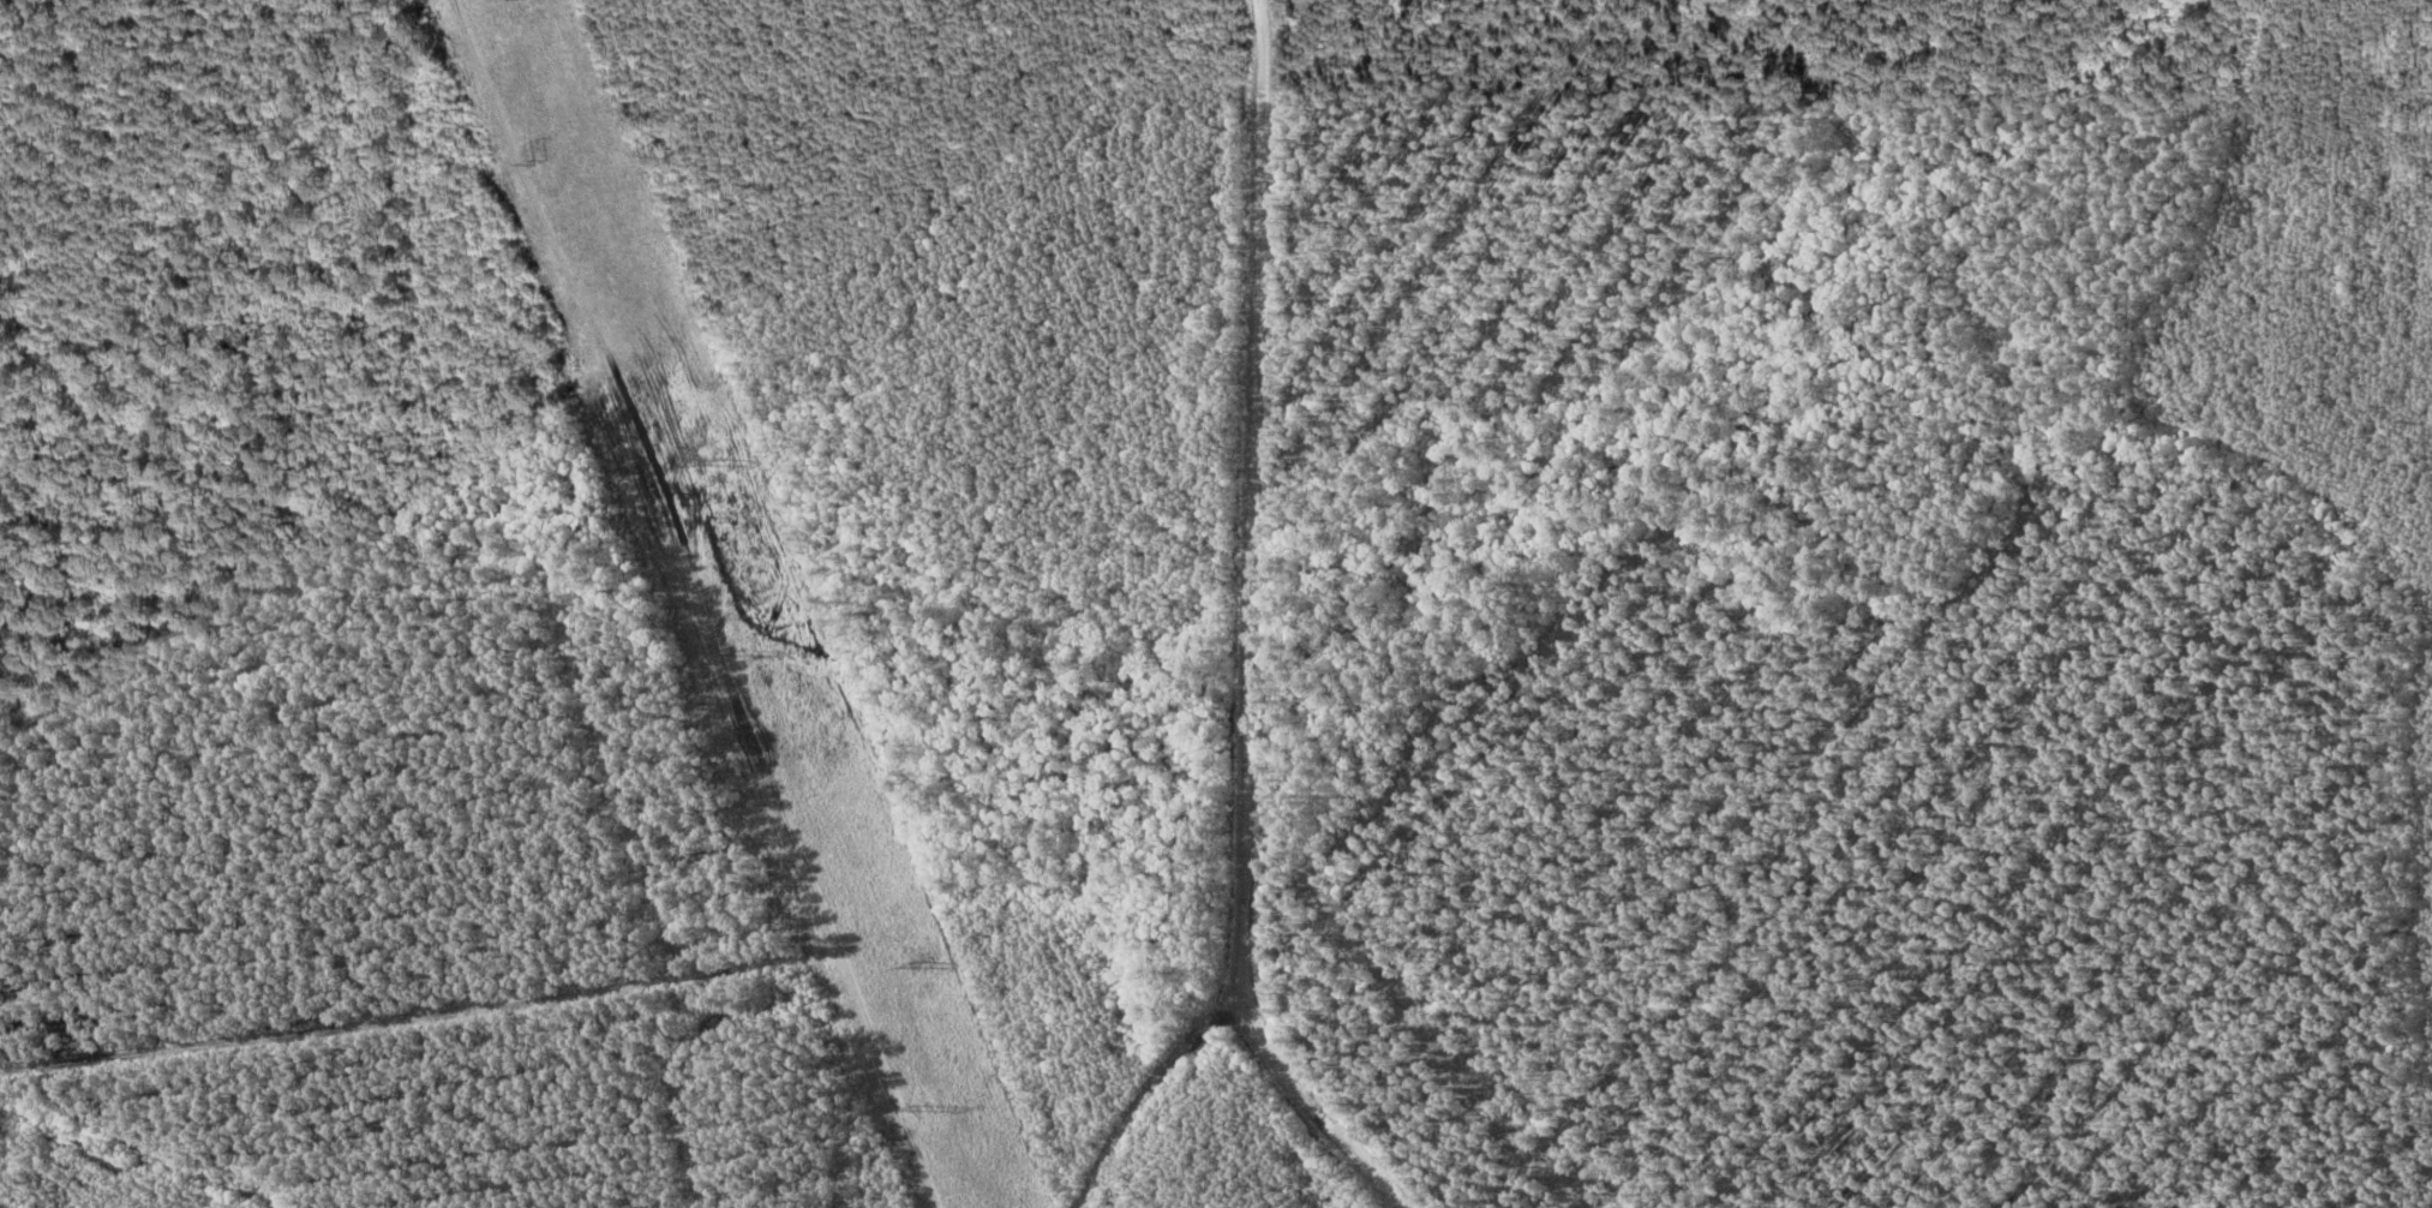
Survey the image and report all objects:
power tower: (543, 161)
power tower: (717, 461)
road: (1254, 639)
power tower: (742, 652)
power tower: (917, 964)
power tower: (918, 1110)
road: (1324, 1126)

